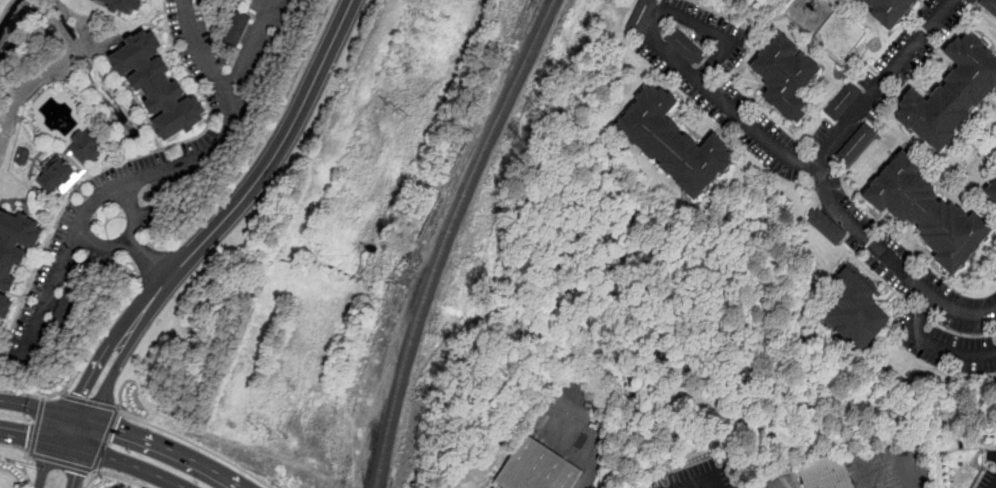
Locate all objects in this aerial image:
building: (203, 2)
building: (124, 5)
building: (989, 6)
building: (891, 11)
building: (641, 15)
park: (827, 24)
road: (705, 28)
building: (236, 29)
road: (21, 31)
park: (15, 37)
road: (248, 47)
building: (685, 47)
building: (786, 75)
building: (158, 86)
building: (952, 95)
building: (843, 100)
road: (730, 108)
power tower: (396, 111)
road: (266, 133)
road: (286, 135)
building: (673, 142)
building: (856, 143)
building: (71, 162)
road: (151, 175)
road: (822, 182)
building: (992, 193)
building: (149, 198)
building: (929, 212)
building: (826, 227)
railway: (449, 238)
road: (128, 239)
road: (100, 245)
building: (15, 246)
road: (155, 264)
road: (159, 292)
building: (5, 307)
building: (856, 308)
building: (64, 309)
road: (930, 344)
road: (124, 350)
road: (82, 363)
road: (64, 393)
traffic signals: (80, 394)
road: (43, 398)
road: (91, 402)
road: (74, 404)
road: (45, 409)
road: (36, 426)
road: (89, 426)
traffic signals: (116, 428)
power tower: (271, 433)
traffic signals: (27, 438)
road: (106, 439)
road: (41, 440)
road: (195, 444)
road: (594, 445)
road: (17, 447)
road: (169, 449)
road: (992, 455)
road: (62, 463)
road: (134, 465)
building: (543, 469)
road: (95, 472)
traffic signals: (75, 474)
building: (833, 474)
road: (114, 475)
road: (706, 482)
road: (994, 485)

